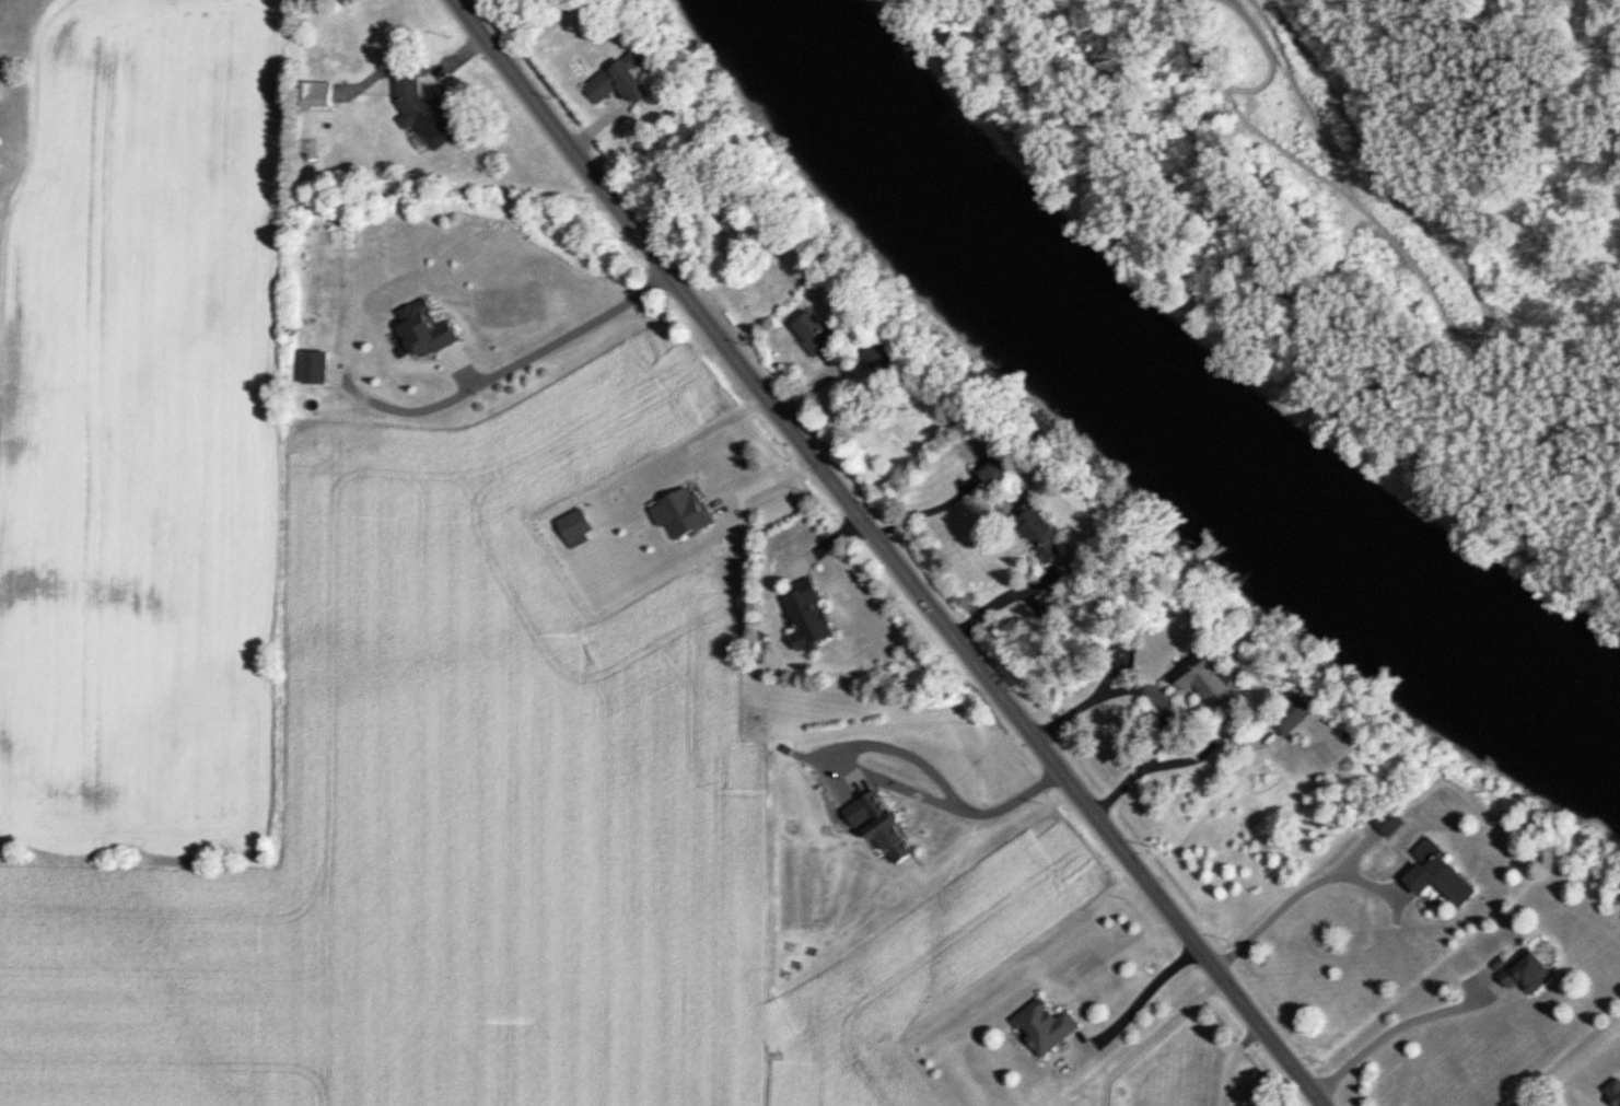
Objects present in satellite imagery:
building: (607, 83)
building: (311, 93)
building: (420, 113)
park: (750, 252)
road: (557, 326)
building: (802, 333)
building: (311, 368)
river: (1161, 411)
building: (982, 469)
road: (762, 485)
building: (1029, 532)
road: (888, 552)
road: (1001, 598)
building: (801, 615)
building: (1198, 684)
road: (1158, 698)
building: (1283, 713)
road: (871, 776)
building: (879, 827)
building: (1431, 876)
road: (1294, 895)
building: (1520, 974)
road: (1141, 997)
building: (1040, 1026)
road: (1395, 1027)
road: (1234, 1061)
building: (1611, 1092)
road: (1600, 1105)

